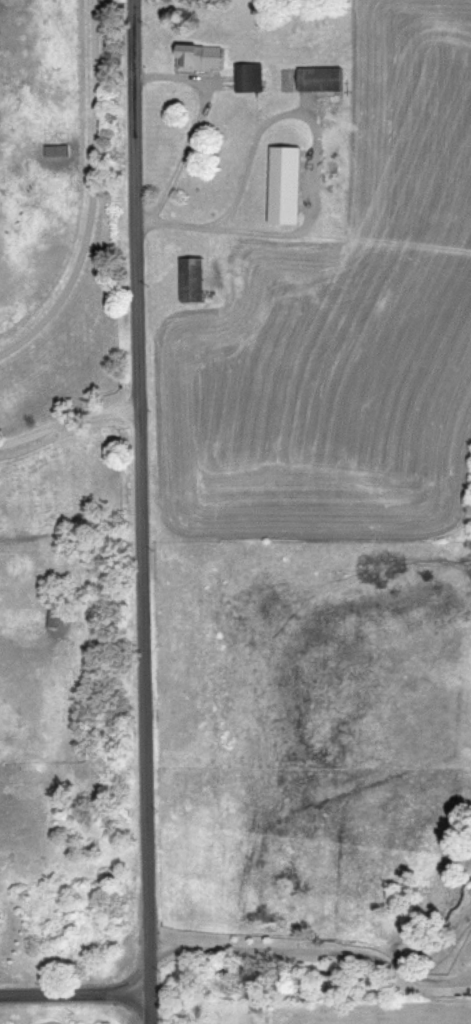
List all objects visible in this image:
building: (199, 57)
building: (248, 76)
building: (320, 77)
road: (197, 126)
building: (56, 149)
building: (285, 184)
building: (192, 278)
road: (69, 418)
road: (143, 511)
building: (50, 617)
building: (0, 914)
road: (317, 948)
road: (74, 993)

